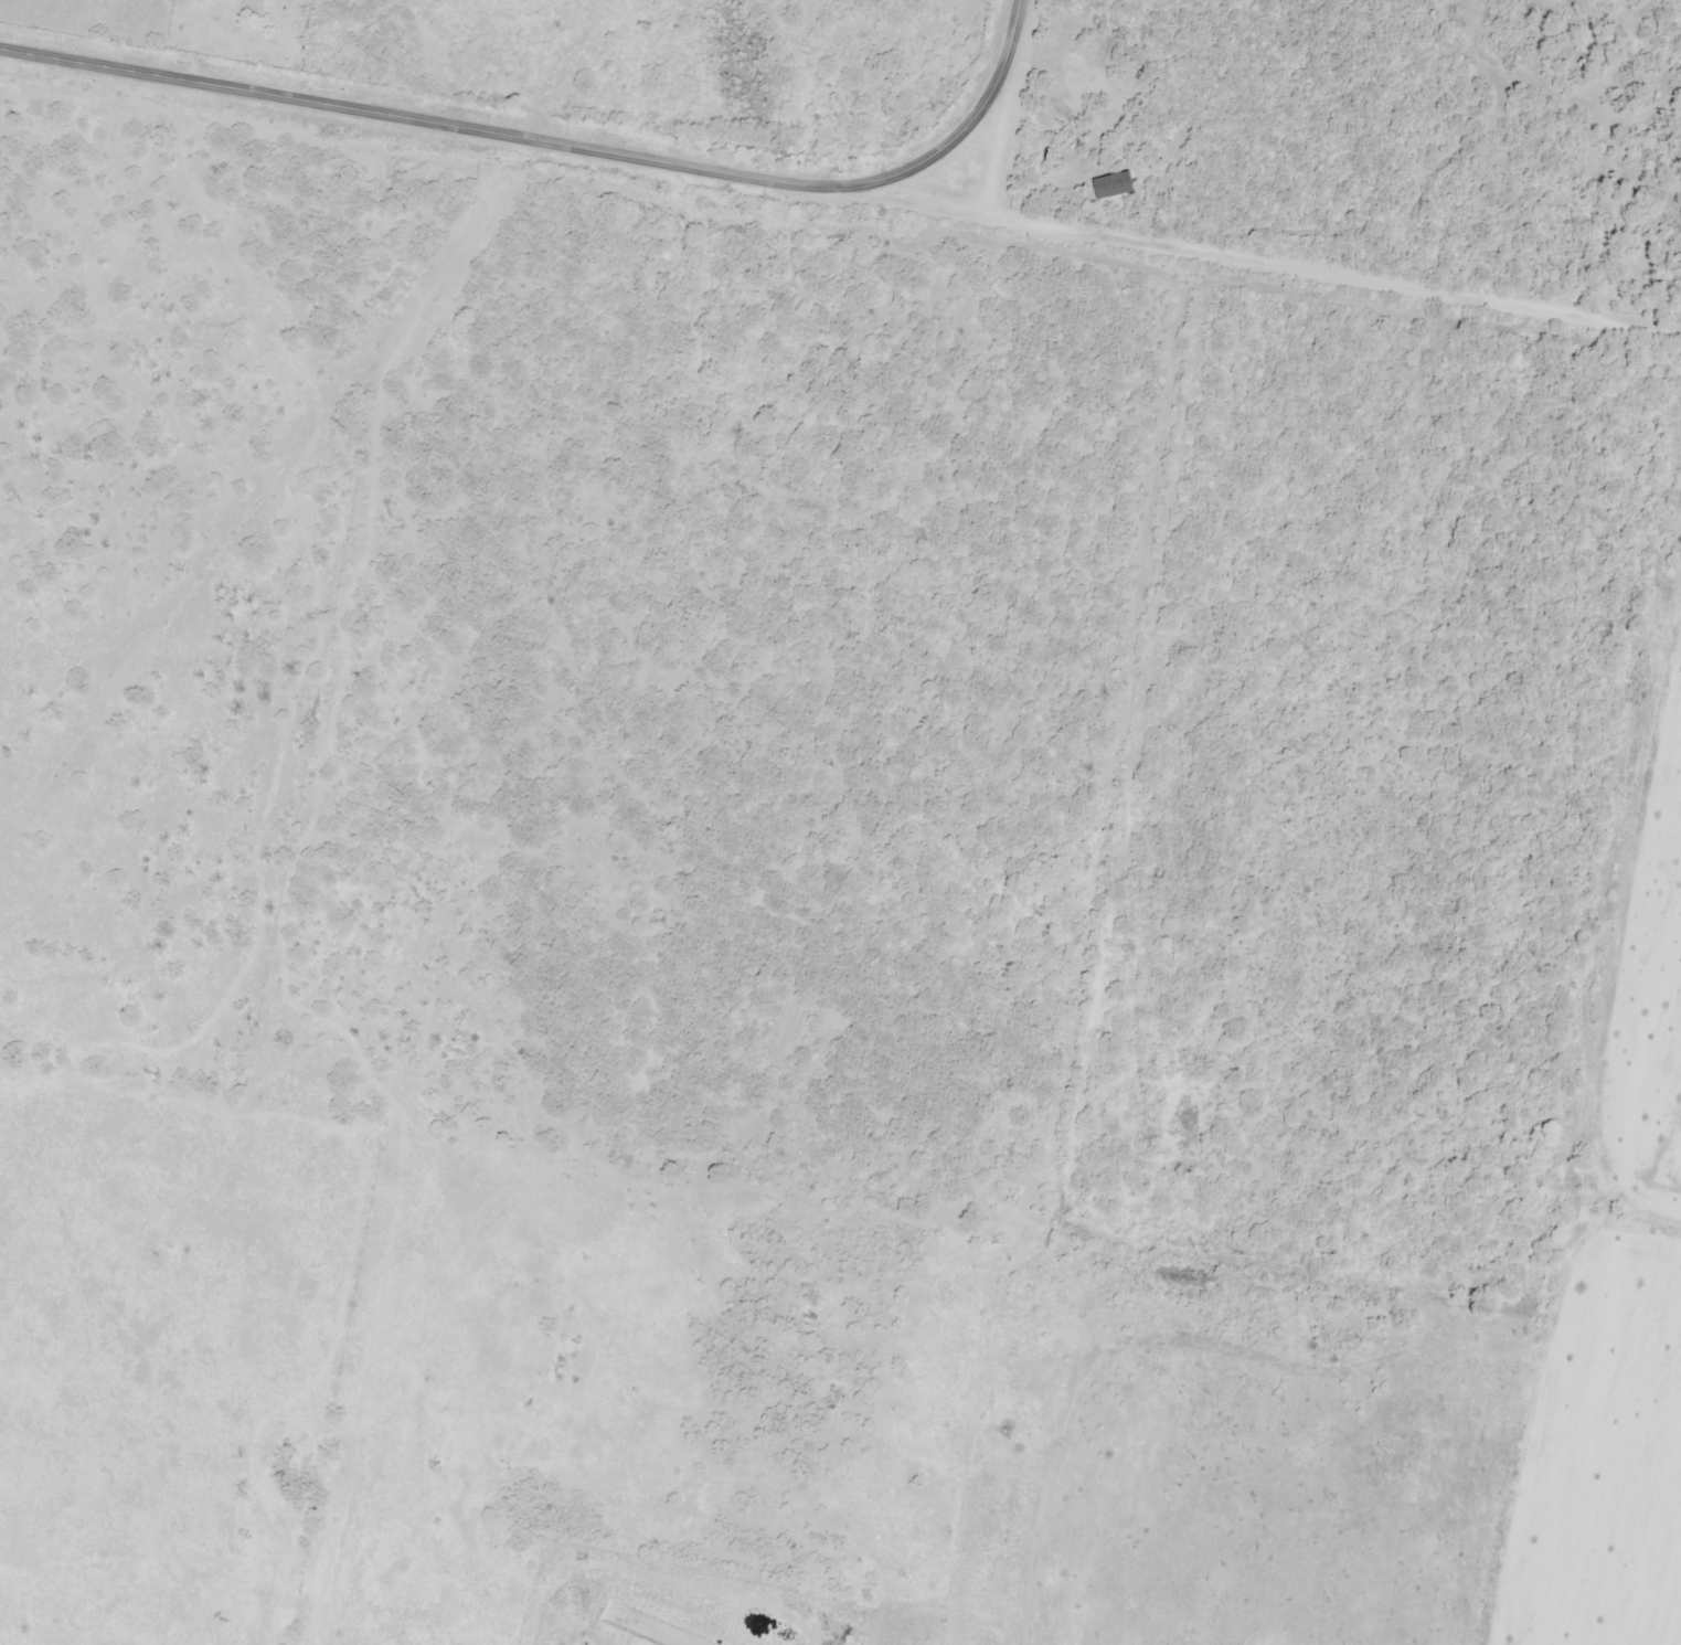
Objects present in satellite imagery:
building: (255, 6)
road: (558, 144)
road: (1258, 264)

